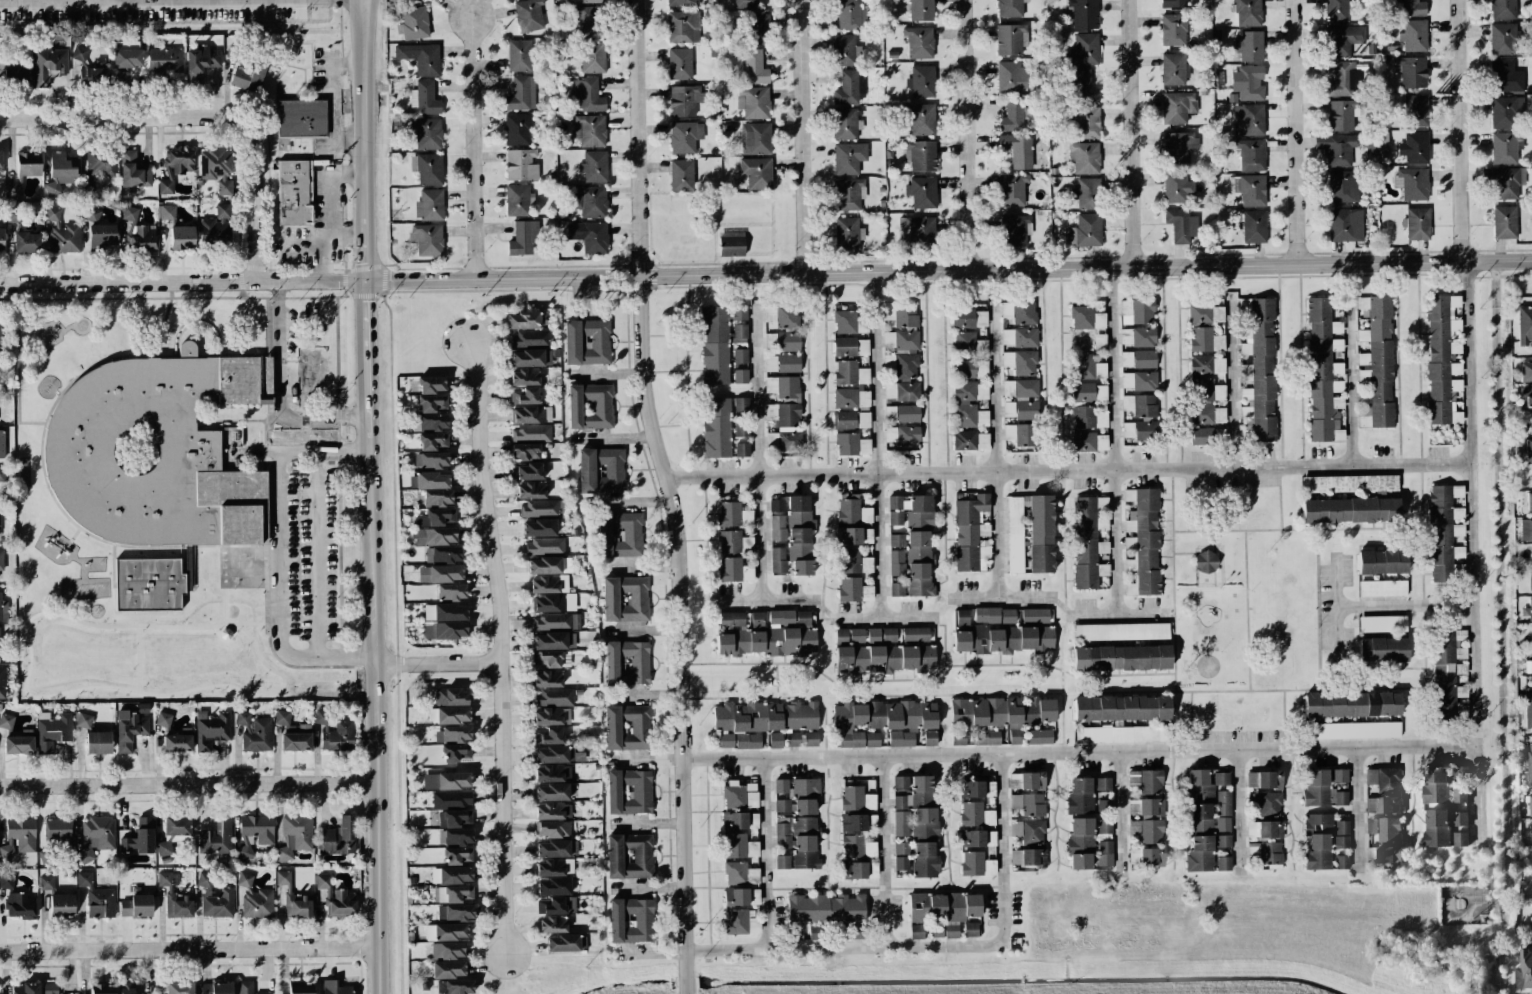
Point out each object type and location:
road: (50, 0)
building: (590, 1)
building: (682, 3)
building: (745, 3)
building: (1172, 3)
building: (1410, 7)
building: (1009, 8)
building: (1503, 9)
building: (921, 10)
building: (1336, 10)
building: (1083, 13)
building: (1248, 13)
building: (849, 15)
building: (529, 16)
building: (588, 21)
building: (413, 23)
building: (683, 27)
building: (752, 27)
building: (1173, 29)
building: (1415, 35)
building: (1010, 39)
building: (1502, 39)
building: (1343, 40)
building: (919, 42)
building: (1249, 45)
building: (843, 50)
building: (1084, 50)
building: (80, 53)
building: (519, 55)
building: (591, 56)
building: (420, 57)
building: (128, 58)
building: (165, 60)
building: (200, 63)
building: (679, 64)
building: (48, 65)
building: (754, 67)
building: (1173, 69)
building: (97, 71)
building: (1412, 71)
building: (248, 75)
building: (14, 76)
building: (1008, 77)
building: (1505, 77)
building: (1343, 80)
building: (921, 81)
building: (1247, 83)
building: (1083, 87)
building: (849, 88)
building: (521, 94)
building: (587, 95)
building: (424, 98)
building: (684, 100)
building: (753, 102)
road: (333, 103)
building: (1177, 107)
building: (1415, 110)
building: (1506, 112)
building: (1012, 115)
building: (1341, 115)
road: (201, 116)
building: (301, 118)
building: (921, 119)
building: (1248, 120)
building: (1086, 122)
building: (844, 123)
building: (517, 129)
building: (589, 130)
road: (1462, 131)
road: (1296, 132)
building: (426, 133)
road: (1132, 134)
road: (968, 135)
building: (685, 137)
road: (804, 137)
building: (755, 138)
building: (1382, 140)
building: (1178, 146)
building: (1505, 147)
building: (1415, 148)
road: (474, 149)
building: (1336, 149)
building: (1017, 150)
building: (1251, 154)
building: (922, 155)
building: (1084, 157)
building: (849, 158)
building: (0, 162)
building: (101, 162)
building: (28, 163)
building: (521, 165)
building: (594, 166)
building: (175, 168)
building: (216, 168)
building: (427, 168)
building: (134, 171)
building: (60, 172)
building: (756, 173)
building: (681, 175)
road: (348, 176)
building: (1501, 182)
building: (1412, 183)
building: (1343, 186)
building: (1177, 187)
building: (1012, 189)
building: (1249, 189)
building: (14, 190)
building: (294, 192)
building: (922, 192)
building: (1086, 193)
building: (848, 194)
building: (516, 200)
building: (589, 201)
building: (429, 205)
road: (329, 207)
building: (166, 212)
building: (89, 213)
building: (129, 213)
building: (13, 215)
building: (1504, 222)
building: (1181, 224)
building: (1345, 224)
building: (1417, 224)
building: (216, 226)
building: (1253, 227)
building: (1013, 230)
building: (1086, 230)
building: (918, 231)
building: (62, 233)
building: (847, 233)
building: (102, 237)
building: (141, 237)
building: (181, 237)
building: (594, 237)
building: (1, 238)
road: (348, 239)
building: (426, 239)
building: (522, 239)
building: (27, 242)
building: (731, 244)
road: (303, 248)
road: (323, 264)
road: (949, 271)
road: (183, 280)
building: (1137, 311)
building: (1019, 312)
building: (1204, 312)
building: (969, 318)
building: (1086, 318)
building: (522, 320)
building: (845, 322)
building: (784, 325)
building: (1524, 325)
building: (900, 326)
building: (1019, 337)
building: (1137, 337)
building: (529, 338)
building: (719, 340)
building: (1205, 340)
building: (587, 342)
building: (968, 344)
building: (851, 346)
building: (740, 356)
building: (531, 358)
building: (1126, 359)
building: (1144, 359)
building: (1442, 359)
building: (1377, 361)
building: (1020, 362)
building: (782, 363)
building: (901, 365)
building: (1207, 365)
building: (1087, 367)
building: (1259, 368)
building: (1526, 371)
building: (850, 373)
road: (874, 374)
road: (606, 375)
building: (740, 376)
building: (524, 377)
road: (1351, 378)
building: (1138, 380)
road: (1232, 380)
building: (430, 385)
building: (1020, 388)
road: (279, 391)
building: (901, 391)
building: (1088, 392)
building: (525, 396)
building: (966, 396)
building: (1525, 397)
building: (845, 398)
building: (863, 400)
building: (1205, 401)
building: (431, 403)
building: (741, 404)
building: (1139, 405)
building: (590, 406)
building: (785, 412)
building: (901, 413)
building: (528, 414)
building: (1088, 417)
building: (852, 419)
building: (430, 422)
building: (1531, 423)
building: (716, 427)
building: (741, 429)
building: (1139, 430)
building: (530, 432)
building: (1019, 434)
building: (902, 435)
building: (1208, 436)
road: (613, 438)
building: (966, 440)
building: (432, 441)
building: (1083, 441)
road: (1114, 441)
building: (2, 444)
building: (851, 444)
road: (998, 449)
building: (741, 450)
building: (1528, 450)
building: (525, 451)
road: (760, 453)
building: (430, 460)
building: (155, 466)
building: (601, 470)
road: (1066, 471)
building: (529, 472)
building: (2, 474)
building: (431, 480)
building: (1349, 484)
building: (530, 490)
road: (668, 493)
road: (371, 497)
building: (437, 498)
road: (628, 501)
building: (1529, 502)
building: (776, 505)
building: (540, 508)
building: (851, 510)
building: (1350, 510)
building: (910, 512)
building: (729, 514)
building: (435, 517)
building: (539, 528)
building: (777, 528)
building: (1526, 530)
building: (968, 531)
building: (619, 534)
building: (1014, 534)
building: (1040, 534)
building: (1441, 534)
building: (799, 535)
building: (848, 535)
building: (896, 540)
building: (1142, 541)
building: (729, 542)
building: (1085, 543)
building: (438, 544)
building: (544, 546)
road: (881, 547)
building: (1102, 547)
road: (277, 554)
road: (318, 555)
road: (1470, 555)
building: (848, 559)
building: (777, 560)
building: (1205, 561)
building: (1381, 562)
building: (896, 563)
building: (919, 563)
building: (1, 564)
building: (866, 564)
building: (549, 565)
road: (639, 567)
building: (733, 570)
building: (440, 573)
building: (1530, 582)
building: (548, 584)
building: (1382, 588)
building: (849, 589)
building: (897, 589)
building: (450, 592)
building: (866, 593)
road: (1500, 594)
building: (625, 598)
road: (1000, 598)
road: (765, 602)
road: (1335, 602)
building: (553, 603)
road: (1403, 606)
building: (1530, 609)
building: (3, 610)
building: (445, 612)
road: (1119, 614)
building: (994, 615)
building: (781, 616)
building: (1035, 616)
building: (802, 617)
building: (962, 617)
building: (757, 618)
building: (731, 619)
road: (882, 619)
building: (556, 621)
building: (1381, 624)
road: (644, 629)
building: (450, 630)
building: (1120, 631)
building: (841, 634)
building: (873, 634)
building: (915, 634)
building: (856, 635)
building: (888, 635)
building: (1002, 639)
building: (550, 641)
building: (768, 642)
road: (499, 646)
building: (1382, 649)
building: (546, 658)
building: (1121, 658)
building: (1531, 658)
building: (884, 659)
road: (437, 662)
building: (626, 663)
building: (1443, 675)
building: (547, 679)
building: (2, 683)
road: (645, 694)
building: (451, 697)
building: (553, 697)
building: (1387, 704)
building: (1334, 705)
building: (1528, 707)
building: (1121, 708)
building: (452, 715)
building: (998, 715)
building: (551, 716)
building: (765, 716)
building: (912, 718)
building: (163, 719)
building: (84, 720)
building: (6, 721)
building: (857, 723)
building: (627, 727)
building: (211, 729)
building: (52, 730)
building: (129, 730)
building: (1352, 730)
building: (254, 732)
building: (334, 732)
building: (293, 733)
building: (452, 734)
building: (1122, 734)
building: (549, 735)
building: (1039, 736)
building: (987, 737)
building: (792, 739)
building: (810, 739)
building: (901, 739)
building: (726, 740)
building: (775, 740)
building: (178, 741)
building: (747, 741)
building: (98, 742)
building: (18, 745)
building: (456, 752)
building: (558, 754)
road: (1044, 755)
building: (1529, 762)
building: (1459, 772)
building: (552, 773)
building: (1339, 775)
building: (1263, 779)
building: (1383, 779)
building: (446, 780)
building: (1014, 781)
building: (1032, 781)
building: (1146, 781)
building: (900, 782)
building: (1102, 784)
building: (1435, 784)
road: (188, 788)
building: (977, 789)
building: (1321, 790)
building: (629, 791)
building: (551, 792)
building: (736, 793)
building: (1079, 795)
building: (1459, 795)
building: (797, 796)
building: (856, 798)
building: (451, 799)
building: (751, 799)
building: (1207, 800)
building: (1265, 803)
building: (1028, 804)
building: (1370, 805)
building: (1388, 805)
building: (1530, 805)
building: (920, 806)
building: (1104, 806)
building: (1150, 807)
road: (1357, 808)
building: (553, 811)
road: (1240, 811)
road: (1122, 812)
building: (975, 814)
building: (739, 820)
building: (858, 822)
road: (648, 823)
building: (901, 823)
building: (176, 825)
building: (1104, 825)
building: (455, 827)
building: (1445, 828)
building: (553, 829)
building: (1264, 829)
building: (1384, 829)
building: (60, 830)
building: (1151, 831)
building: (783, 832)
building: (254, 834)
building: (1341, 834)
building: (294, 836)
building: (19, 837)
building: (97, 837)
building: (139, 837)
building: (339, 837)
building: (977, 838)
building: (216, 839)
building: (1222, 841)
building: (1318, 841)
building: (805, 842)
building: (1028, 843)
building: (1080, 843)
building: (735, 845)
building: (857, 847)
building: (164, 848)
building: (552, 849)
building: (1253, 849)
road: (885, 852)
road: (771, 853)
building: (1104, 853)
building: (1200, 854)
building: (1270, 854)
building: (1388, 854)
building: (629, 855)
building: (457, 856)
building: (901, 856)
building: (1146, 856)
building: (924, 860)
building: (782, 862)
building: (1341, 862)
building: (1223, 863)
building: (554, 867)
building: (854, 870)
building: (735, 872)
building: (434, 875)
building: (455, 875)
building: (282, 877)
building: (6, 882)
building: (46, 882)
building: (553, 887)
road: (651, 887)
building: (452, 894)
building: (740, 896)
building: (96, 897)
building: (214, 897)
building: (175, 898)
building: (336, 898)
building: (254, 899)
building: (20, 905)
building: (61, 905)
building: (299, 905)
building: (556, 905)
road: (1496, 905)
building: (135, 906)
building: (822, 911)
building: (943, 911)
building: (455, 912)
building: (631, 920)
building: (740, 922)
building: (552, 925)
building: (970, 929)
building: (450, 931)
building: (847, 931)
building: (916, 931)
building: (815, 932)
building: (564, 943)
road: (938, 945)
road: (188, 950)
building: (447, 950)
road: (652, 952)
building: (448, 969)
building: (1523, 970)
building: (300, 987)
building: (454, 987)
building: (25, 988)
building: (49, 988)
building: (126, 988)
building: (179, 988)
building: (215, 988)
building: (246, 988)
building: (334, 988)
building: (103, 989)
road: (688, 991)

